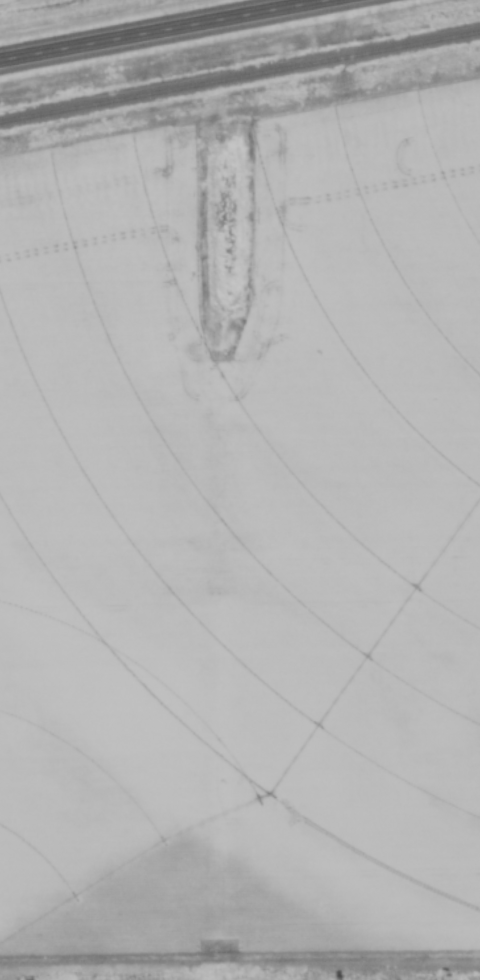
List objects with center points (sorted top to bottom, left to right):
road: (329, 1)
road: (170, 30)
railway: (240, 68)

